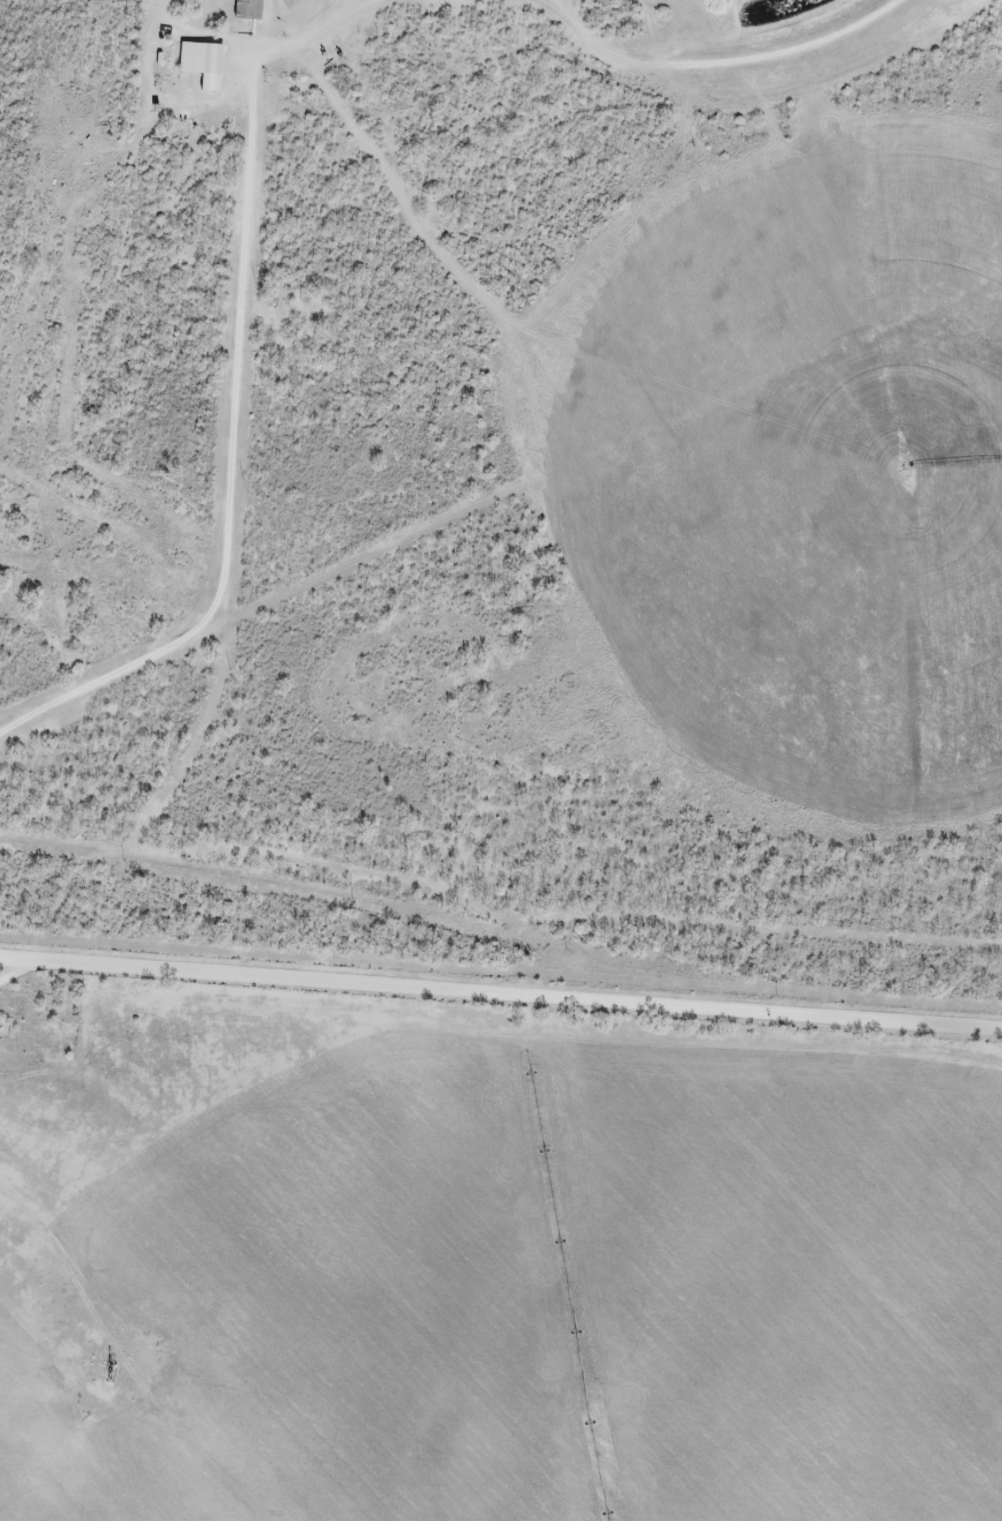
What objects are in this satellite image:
building: (249, 10)
dam: (770, 52)
building: (203, 63)
road: (238, 344)
road: (501, 498)
road: (500, 995)

